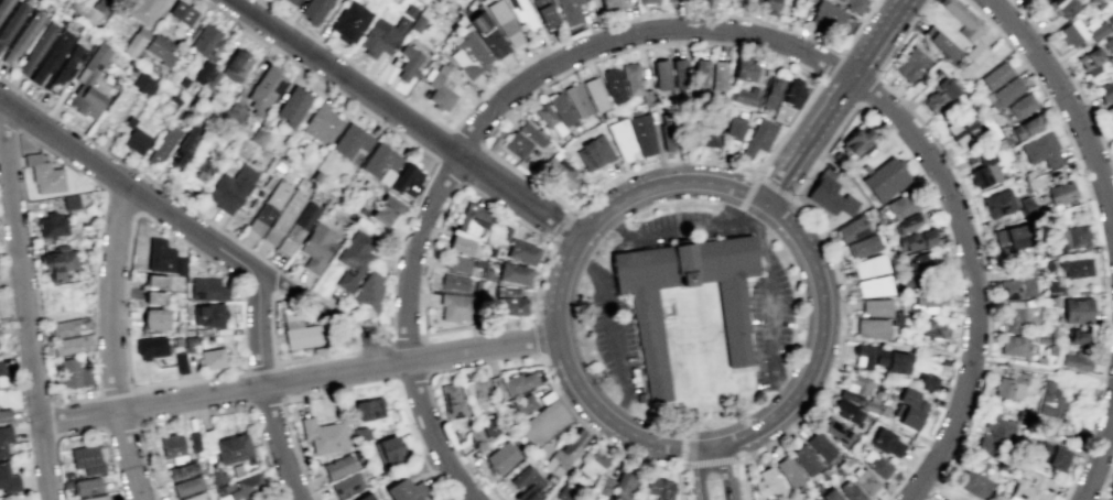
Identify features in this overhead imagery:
building: (464, 0)
building: (664, 0)
building: (838, 0)
building: (291, 1)
building: (644, 1)
building: (609, 2)
building: (1095, 3)
building: (3, 6)
building: (102, 6)
building: (854, 6)
building: (1062, 6)
building: (72, 7)
building: (768, 7)
building: (142, 10)
building: (313, 10)
building: (409, 11)
building: (569, 11)
building: (181, 12)
building: (522, 13)
building: (544, 13)
building: (826, 17)
building: (961, 19)
building: (1109, 20)
building: (12, 21)
building: (503, 21)
building: (349, 22)
building: (417, 23)
road: (688, 28)
building: (1079, 30)
building: (487, 33)
building: (22, 36)
building: (380, 36)
building: (204, 40)
road: (680, 42)
building: (1106, 42)
building: (939, 43)
building: (132, 45)
road: (550, 45)
building: (37, 46)
building: (160, 48)
building: (973, 53)
building: (469, 55)
building: (51, 56)
building: (1089, 58)
building: (408, 62)
building: (910, 64)
road: (831, 65)
building: (235, 66)
building: (63, 69)
building: (201, 72)
building: (745, 72)
building: (701, 75)
building: (995, 75)
building: (662, 76)
building: (679, 76)
building: (717, 76)
building: (209, 78)
road: (1070, 79)
building: (83, 80)
building: (182, 81)
building: (142, 84)
building: (614, 86)
building: (638, 86)
building: (441, 88)
building: (264, 89)
building: (774, 89)
road: (864, 89)
road: (1042, 89)
building: (1104, 89)
building: (1005, 91)
building: (792, 93)
building: (936, 93)
building: (596, 95)
building: (746, 97)
building: (174, 98)
road: (834, 100)
building: (579, 101)
road: (1069, 105)
building: (292, 106)
building: (1022, 106)
building: (191, 108)
road: (908, 108)
building: (562, 109)
building: (234, 112)
building: (1109, 112)
building: (544, 115)
road: (406, 119)
road: (9, 123)
building: (321, 123)
building: (691, 124)
building: (712, 126)
building: (1025, 127)
building: (669, 128)
building: (963, 128)
building: (988, 128)
building: (733, 129)
building: (531, 133)
building: (642, 133)
building: (134, 137)
building: (258, 137)
road: (465, 138)
building: (758, 138)
building: (350, 140)
building: (623, 140)
building: (855, 140)
building: (997, 142)
building: (161, 143)
building: (516, 144)
building: (183, 146)
building: (1040, 150)
building: (594, 153)
building: (379, 160)
road: (660, 161)
building: (202, 170)
building: (984, 170)
building: (45, 176)
building: (316, 176)
building: (565, 177)
road: (754, 178)
building: (884, 178)
building: (406, 181)
road: (125, 185)
building: (230, 188)
road: (472, 188)
building: (1060, 192)
building: (829, 193)
road: (791, 202)
building: (72, 203)
building: (907, 203)
building: (997, 203)
building: (267, 208)
road: (192, 210)
building: (385, 211)
building: (282, 218)
building: (472, 219)
road: (943, 219)
building: (907, 224)
building: (86, 225)
building: (53, 226)
road: (562, 227)
parking lot: (676, 227)
building: (296, 228)
road: (685, 228)
building: (850, 228)
building: (506, 233)
building: (1070, 237)
building: (1008, 238)
building: (916, 240)
building: (461, 246)
building: (863, 246)
building: (316, 248)
road: (128, 249)
building: (523, 252)
road: (96, 257)
building: (163, 258)
building: (353, 258)
building: (922, 260)
building: (452, 262)
building: (57, 263)
building: (869, 265)
building: (1074, 268)
building: (516, 273)
building: (1051, 279)
road: (562, 280)
building: (155, 281)
building: (451, 282)
building: (874, 285)
road: (390, 287)
building: (1015, 287)
building: (207, 290)
building: (368, 293)
building: (61, 297)
building: (154, 297)
building: (930, 297)
road: (24, 301)
building: (454, 305)
building: (511, 306)
building: (876, 307)
road: (768, 308)
building: (1077, 309)
road: (328, 313)
building: (209, 314)
building: (1012, 316)
building: (154, 317)
road: (988, 317)
parking lot: (775, 318)
road: (272, 324)
building: (71, 327)
building: (735, 328)
building: (873, 328)
road: (1106, 328)
building: (179, 329)
building: (932, 329)
building: (202, 331)
building: (300, 331)
building: (188, 333)
road: (959, 333)
road: (618, 335)
parking lot: (613, 337)
building: (1078, 337)
road: (407, 338)
road: (539, 338)
road: (819, 339)
building: (191, 343)
road: (114, 344)
building: (73, 345)
building: (156, 346)
road: (369, 346)
building: (1013, 346)
road: (898, 347)
road: (315, 356)
building: (212, 358)
road: (970, 358)
building: (883, 359)
building: (1074, 359)
building: (181, 362)
building: (1, 368)
road: (244, 369)
road: (1044, 369)
building: (75, 373)
road: (952, 377)
building: (0, 378)
road: (1107, 379)
road: (296, 380)
building: (519, 381)
building: (927, 383)
building: (860, 384)
building: (1009, 384)
road: (263, 387)
road: (114, 393)
building: (480, 394)
building: (850, 395)
building: (547, 398)
building: (1049, 400)
building: (453, 401)
building: (525, 404)
building: (868, 404)
building: (368, 407)
building: (910, 407)
road: (217, 410)
building: (849, 412)
building: (885, 412)
building: (6, 415)
building: (545, 423)
road: (792, 427)
building: (1045, 427)
road: (121, 430)
building: (834, 430)
road: (1110, 431)
building: (480, 432)
building: (360, 433)
building: (323, 435)
building: (996, 435)
building: (6, 438)
building: (207, 441)
road: (1087, 441)
building: (194, 442)
building: (886, 443)
road: (108, 446)
road: (706, 446)
building: (172, 447)
building: (233, 448)
building: (823, 448)
building: (389, 449)
building: (543, 449)
road: (294, 450)
road: (264, 453)
building: (566, 453)
road: (1100, 453)
building: (1052, 455)
building: (207, 457)
building: (501, 458)
building: (86, 459)
road: (575, 460)
road: (144, 461)
building: (808, 463)
road: (692, 464)
building: (337, 466)
building: (879, 467)
building: (181, 469)
road: (909, 470)
building: (591, 471)
road: (721, 471)
road: (699, 472)
building: (790, 472)
building: (67, 475)
building: (215, 475)
building: (860, 475)
building: (526, 478)
building: (9, 479)
building: (974, 479)
road: (679, 481)
building: (66, 483)
building: (186, 485)
building: (345, 485)
building: (602, 485)
building: (768, 485)
building: (86, 486)
building: (1029, 486)
building: (246, 487)
building: (223, 488)
building: (661, 488)
building: (404, 489)
building: (570, 490)
building: (1111, 490)
building: (849, 491)
building: (528, 493)
building: (830, 494)
building: (196, 496)
building: (96, 497)
building: (365, 497)
building: (818, 499)

